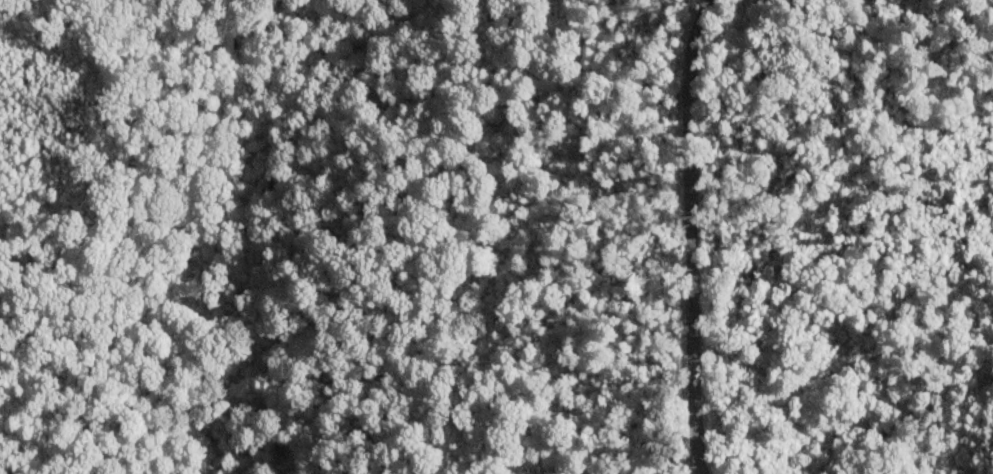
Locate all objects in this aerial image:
road: (684, 236)

